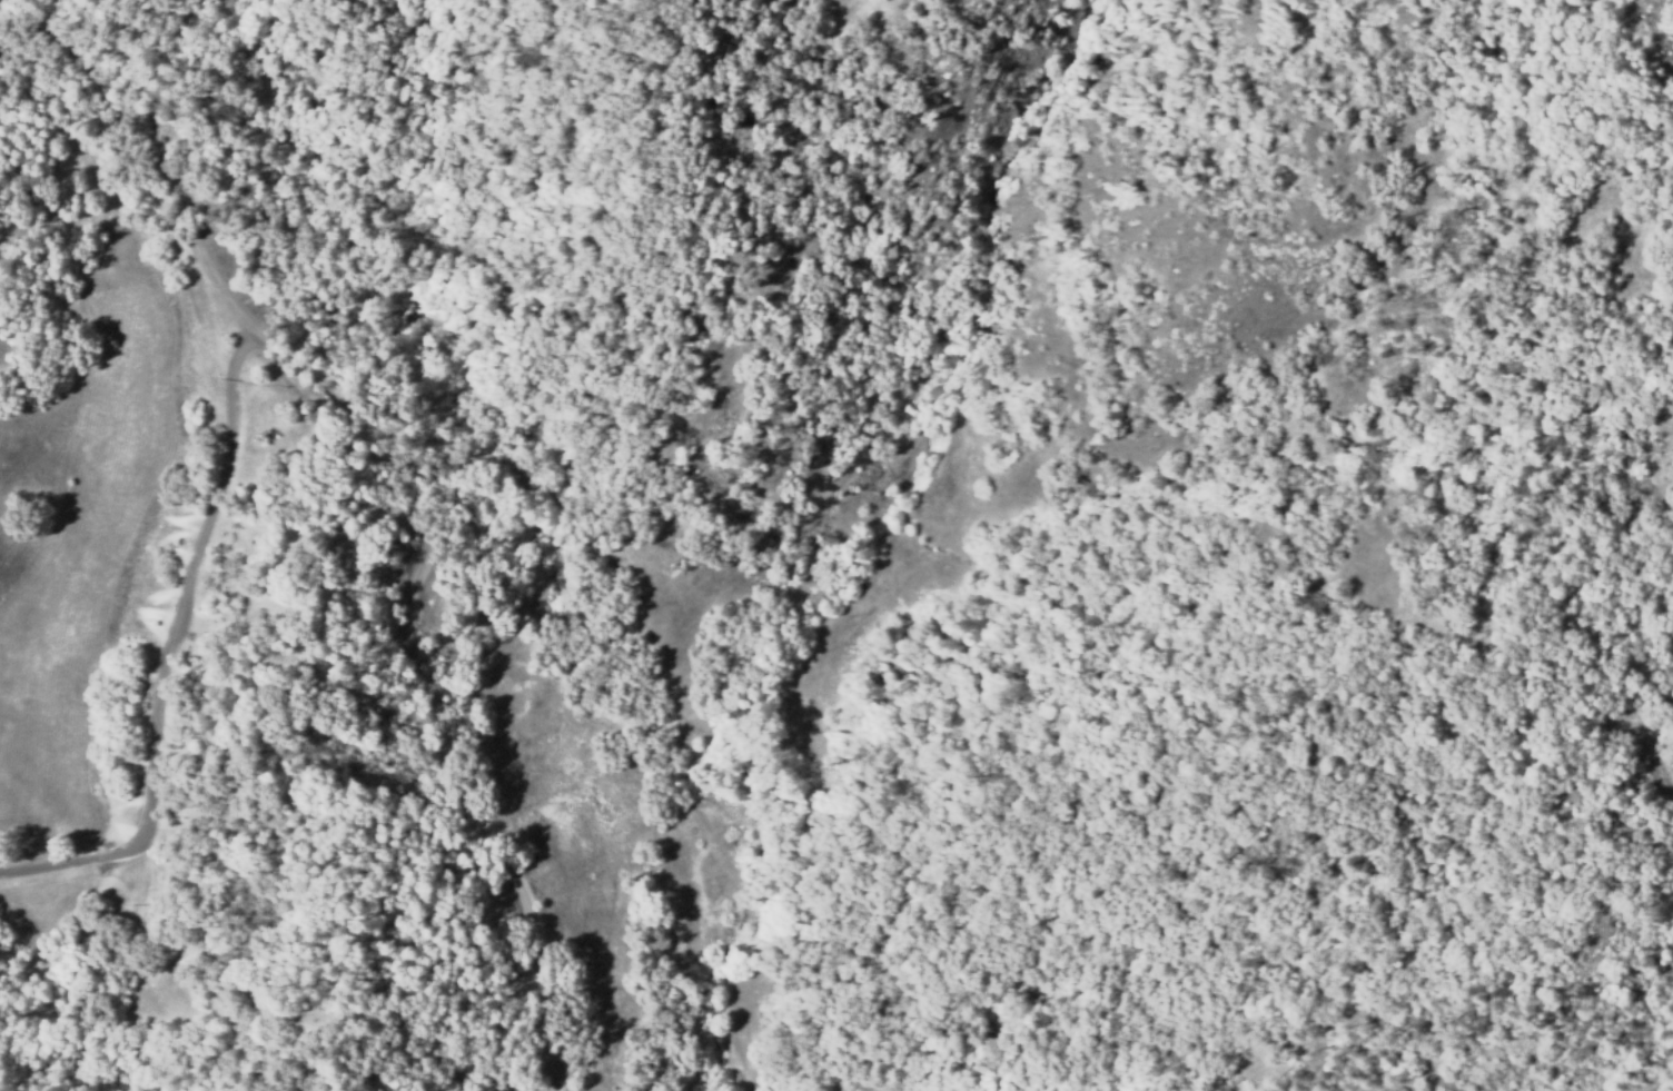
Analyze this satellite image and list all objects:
road: (398, 488)
road: (174, 652)

